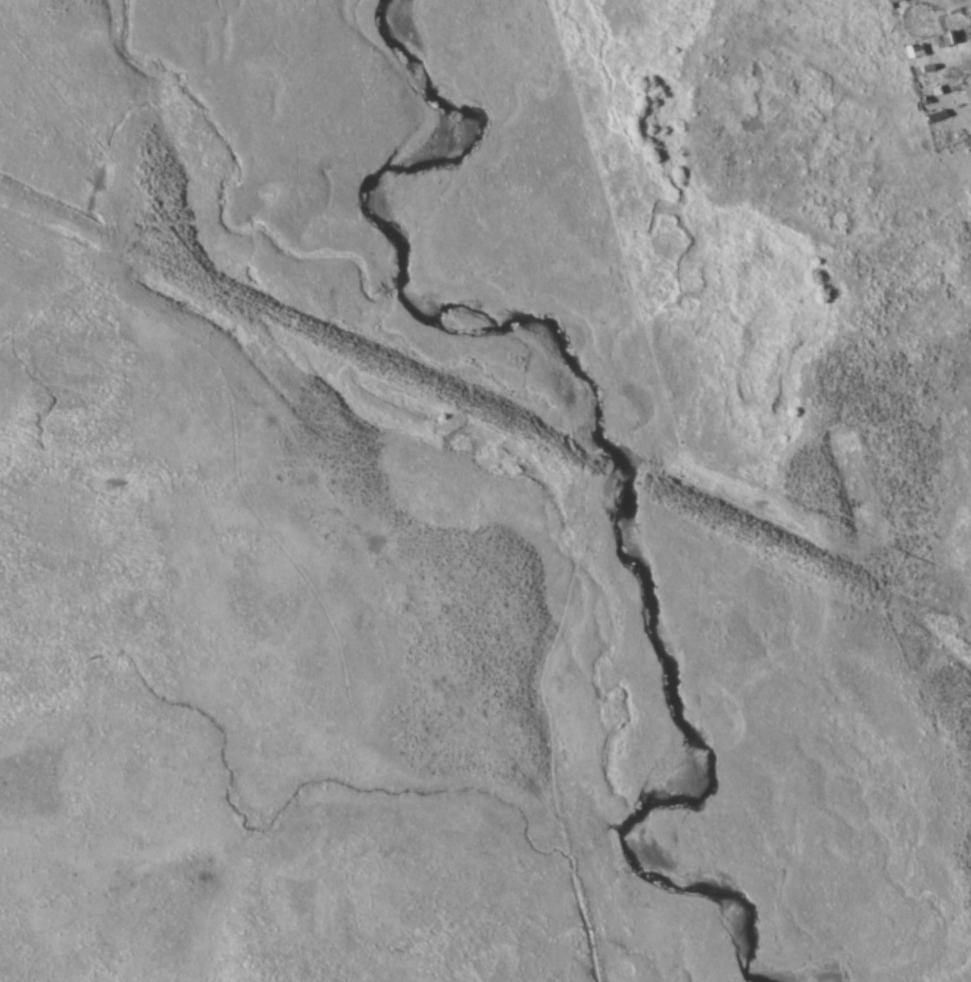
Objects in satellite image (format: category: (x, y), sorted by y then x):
building: (966, 91)

